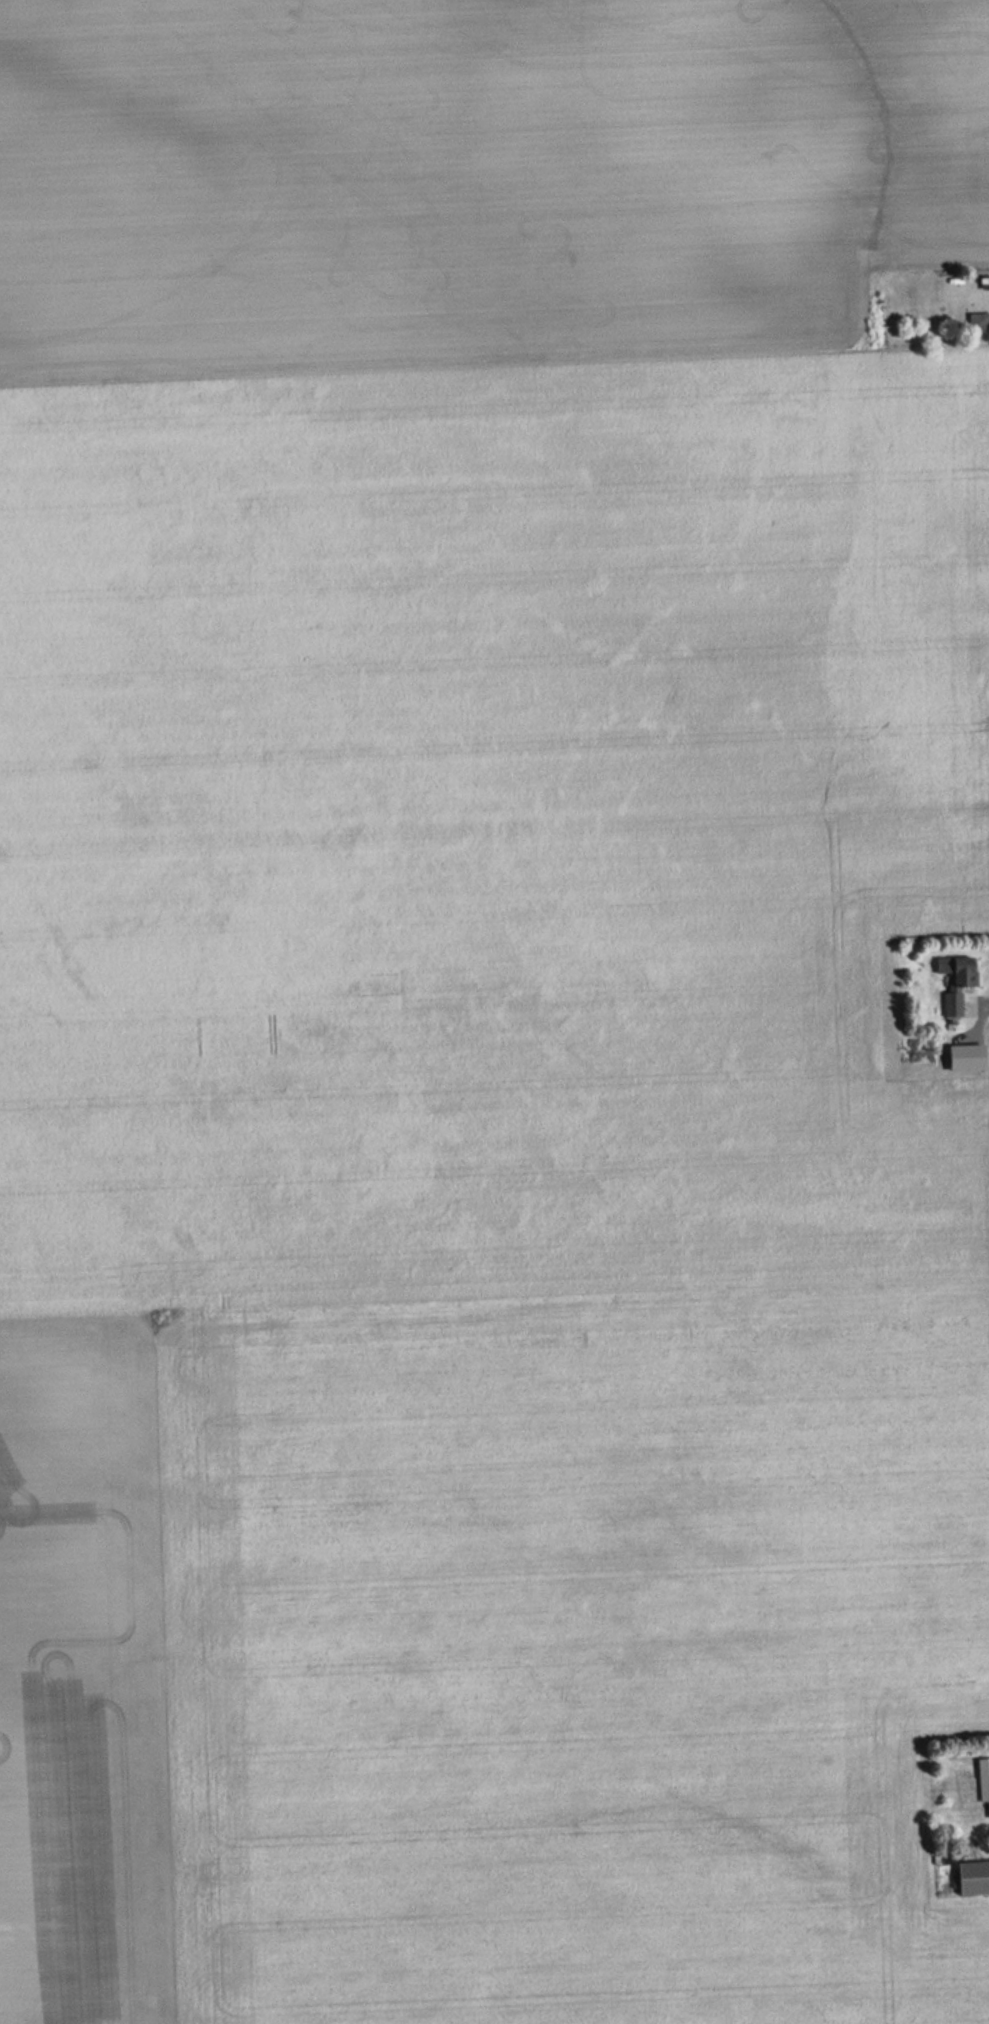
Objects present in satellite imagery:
building: (978, 323)
building: (958, 981)
crop: (485, 1010)
building: (947, 1079)
building: (984, 1780)
building: (975, 1876)

